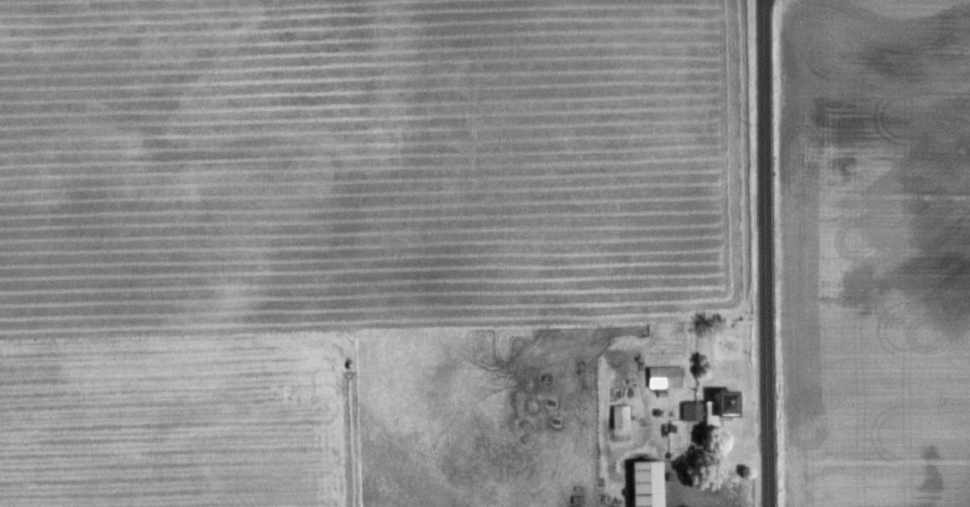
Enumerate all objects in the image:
road: (766, 253)
building: (664, 376)
building: (708, 407)
building: (619, 416)
building: (643, 483)

